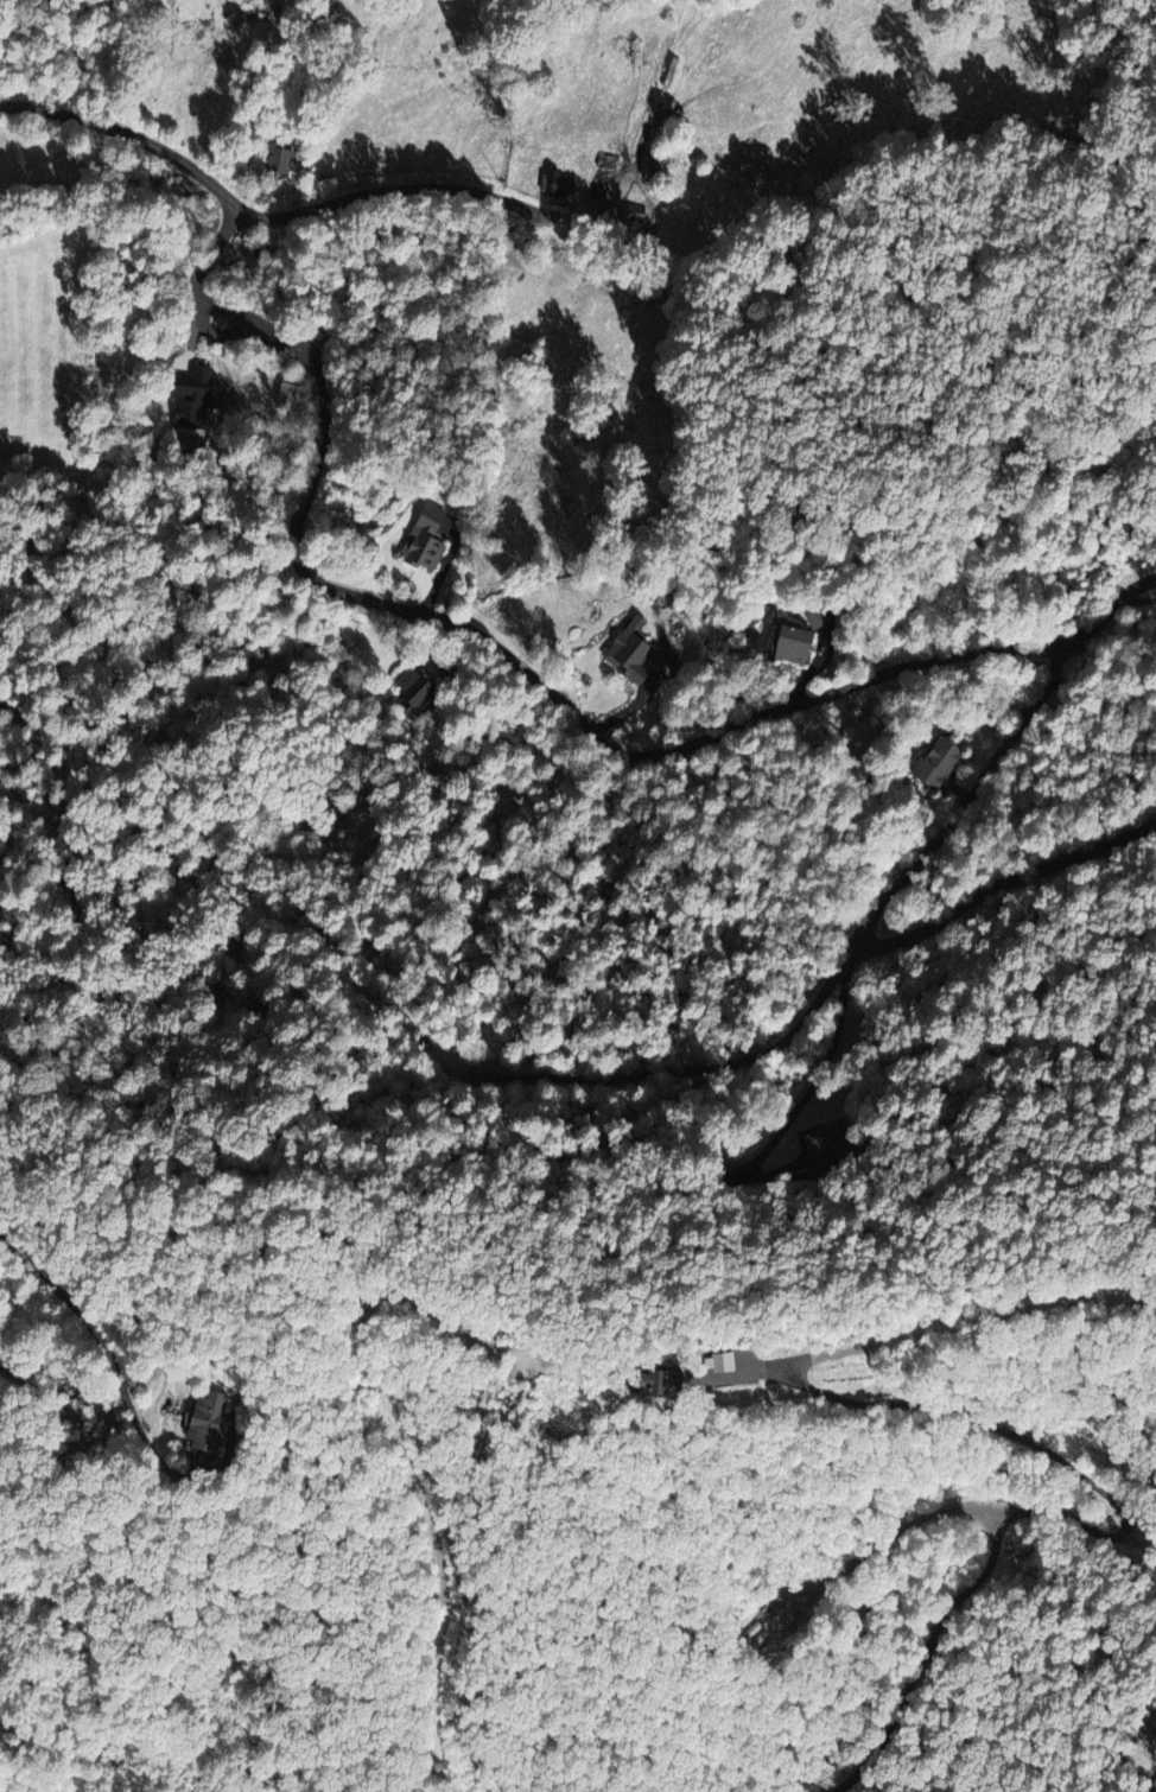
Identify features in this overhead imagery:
building: (277, 158)
building: (555, 184)
building: (630, 212)
road: (263, 214)
building: (189, 395)
building: (421, 538)
building: (814, 615)
building: (788, 642)
building: (628, 649)
road: (523, 666)
building: (413, 692)
building: (934, 762)
road: (1002, 883)
road: (833, 979)
road: (805, 1095)
building: (822, 1139)
road: (87, 1324)
building: (716, 1361)
building: (656, 1383)
road: (1128, 1521)

